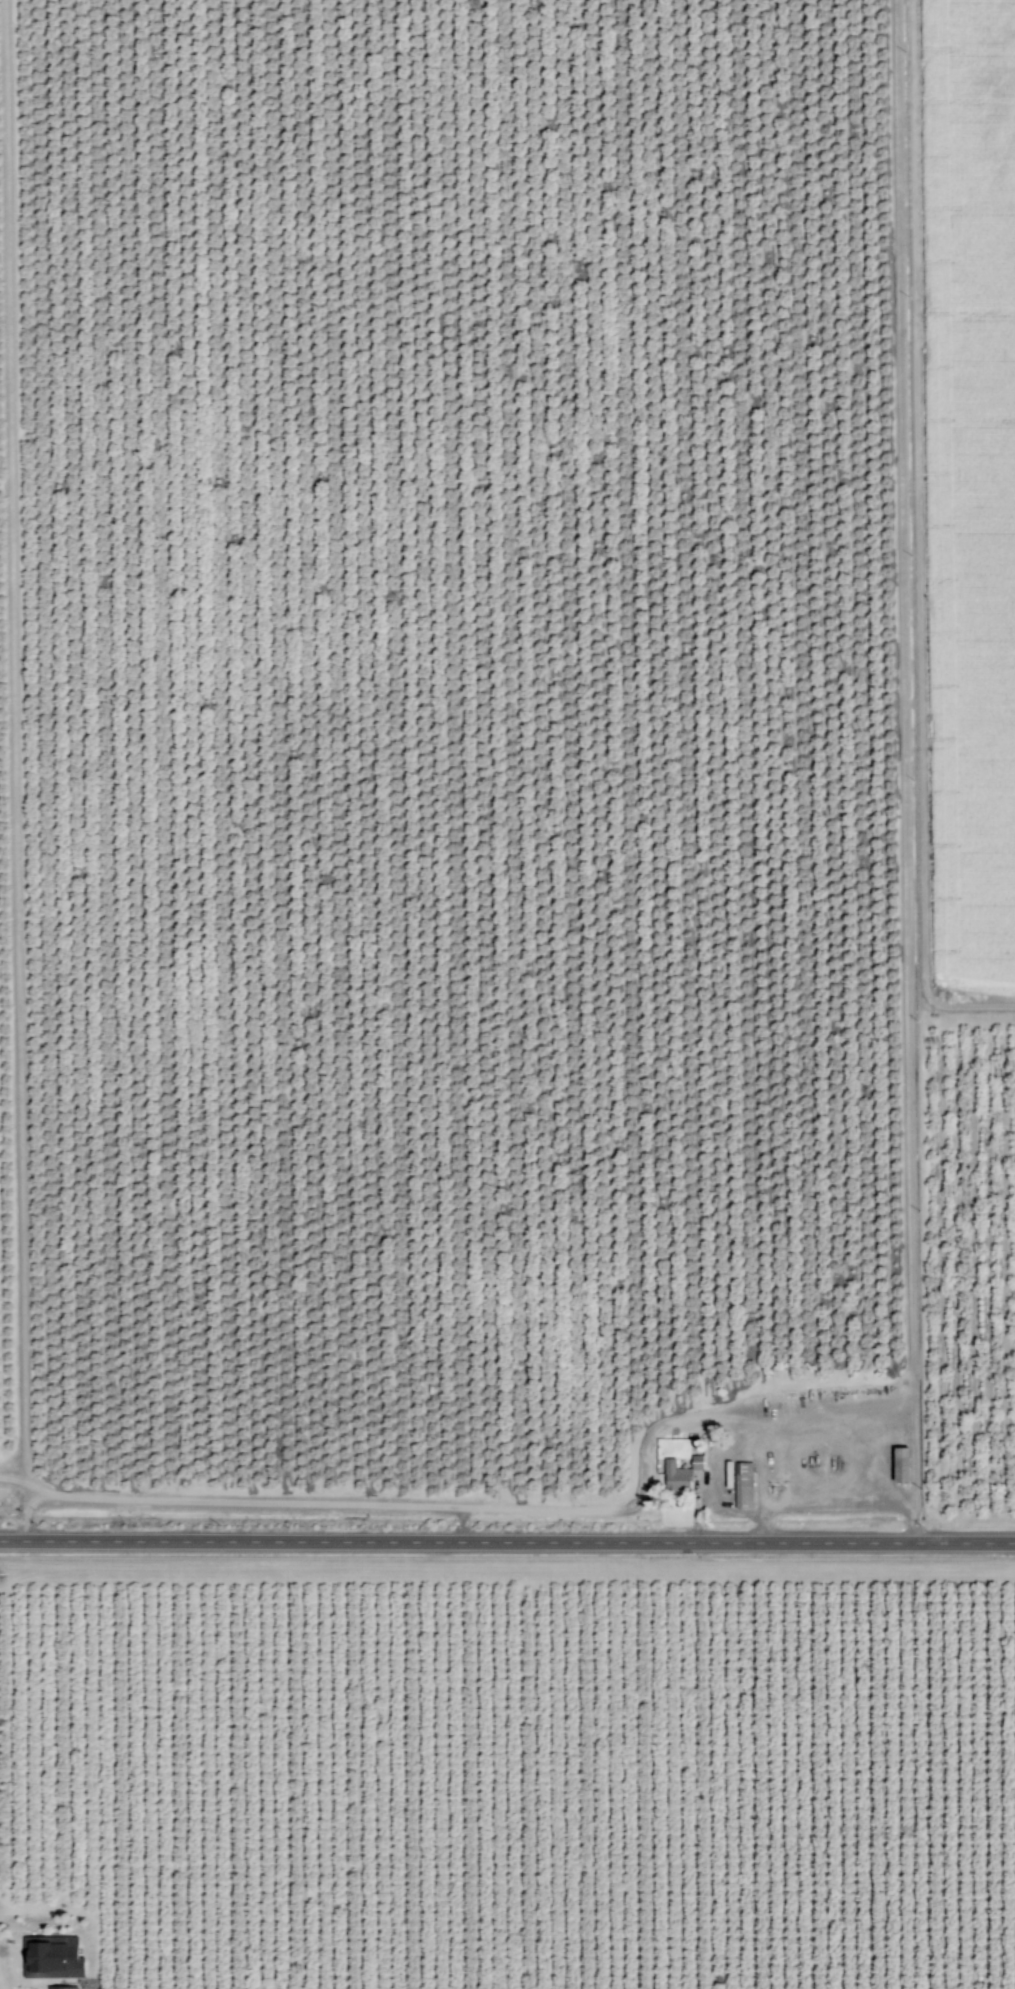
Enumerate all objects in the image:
building: (896, 1465)
building: (680, 1475)
building: (741, 1486)
road: (507, 1546)
building: (65, 1987)

